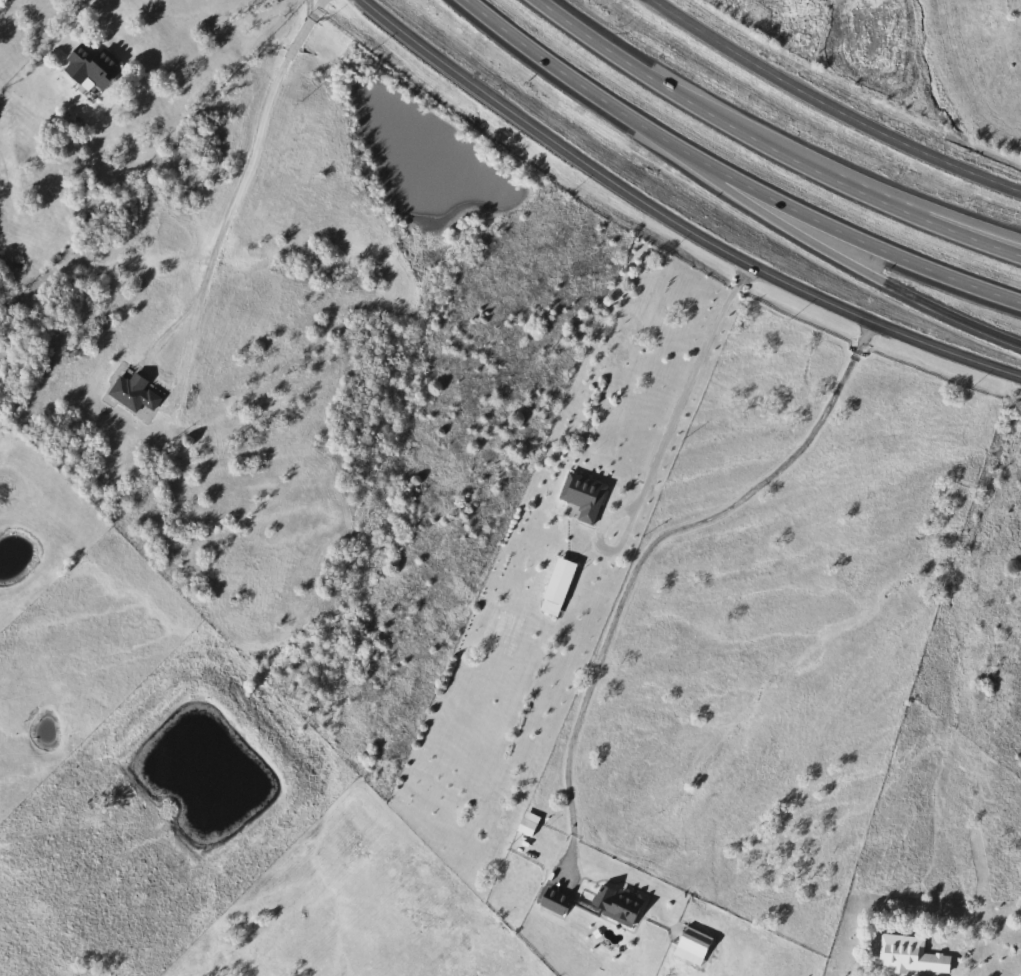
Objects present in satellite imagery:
road: (83, 13)
building: (88, 67)
road: (579, 81)
road: (832, 106)
road: (770, 144)
road: (238, 198)
road: (953, 216)
road: (679, 219)
road: (854, 231)
road: (848, 261)
building: (132, 393)
road: (667, 441)
building: (581, 496)
road: (649, 553)
building: (555, 585)
building: (615, 906)
building: (550, 907)
building: (690, 945)
building: (909, 955)

